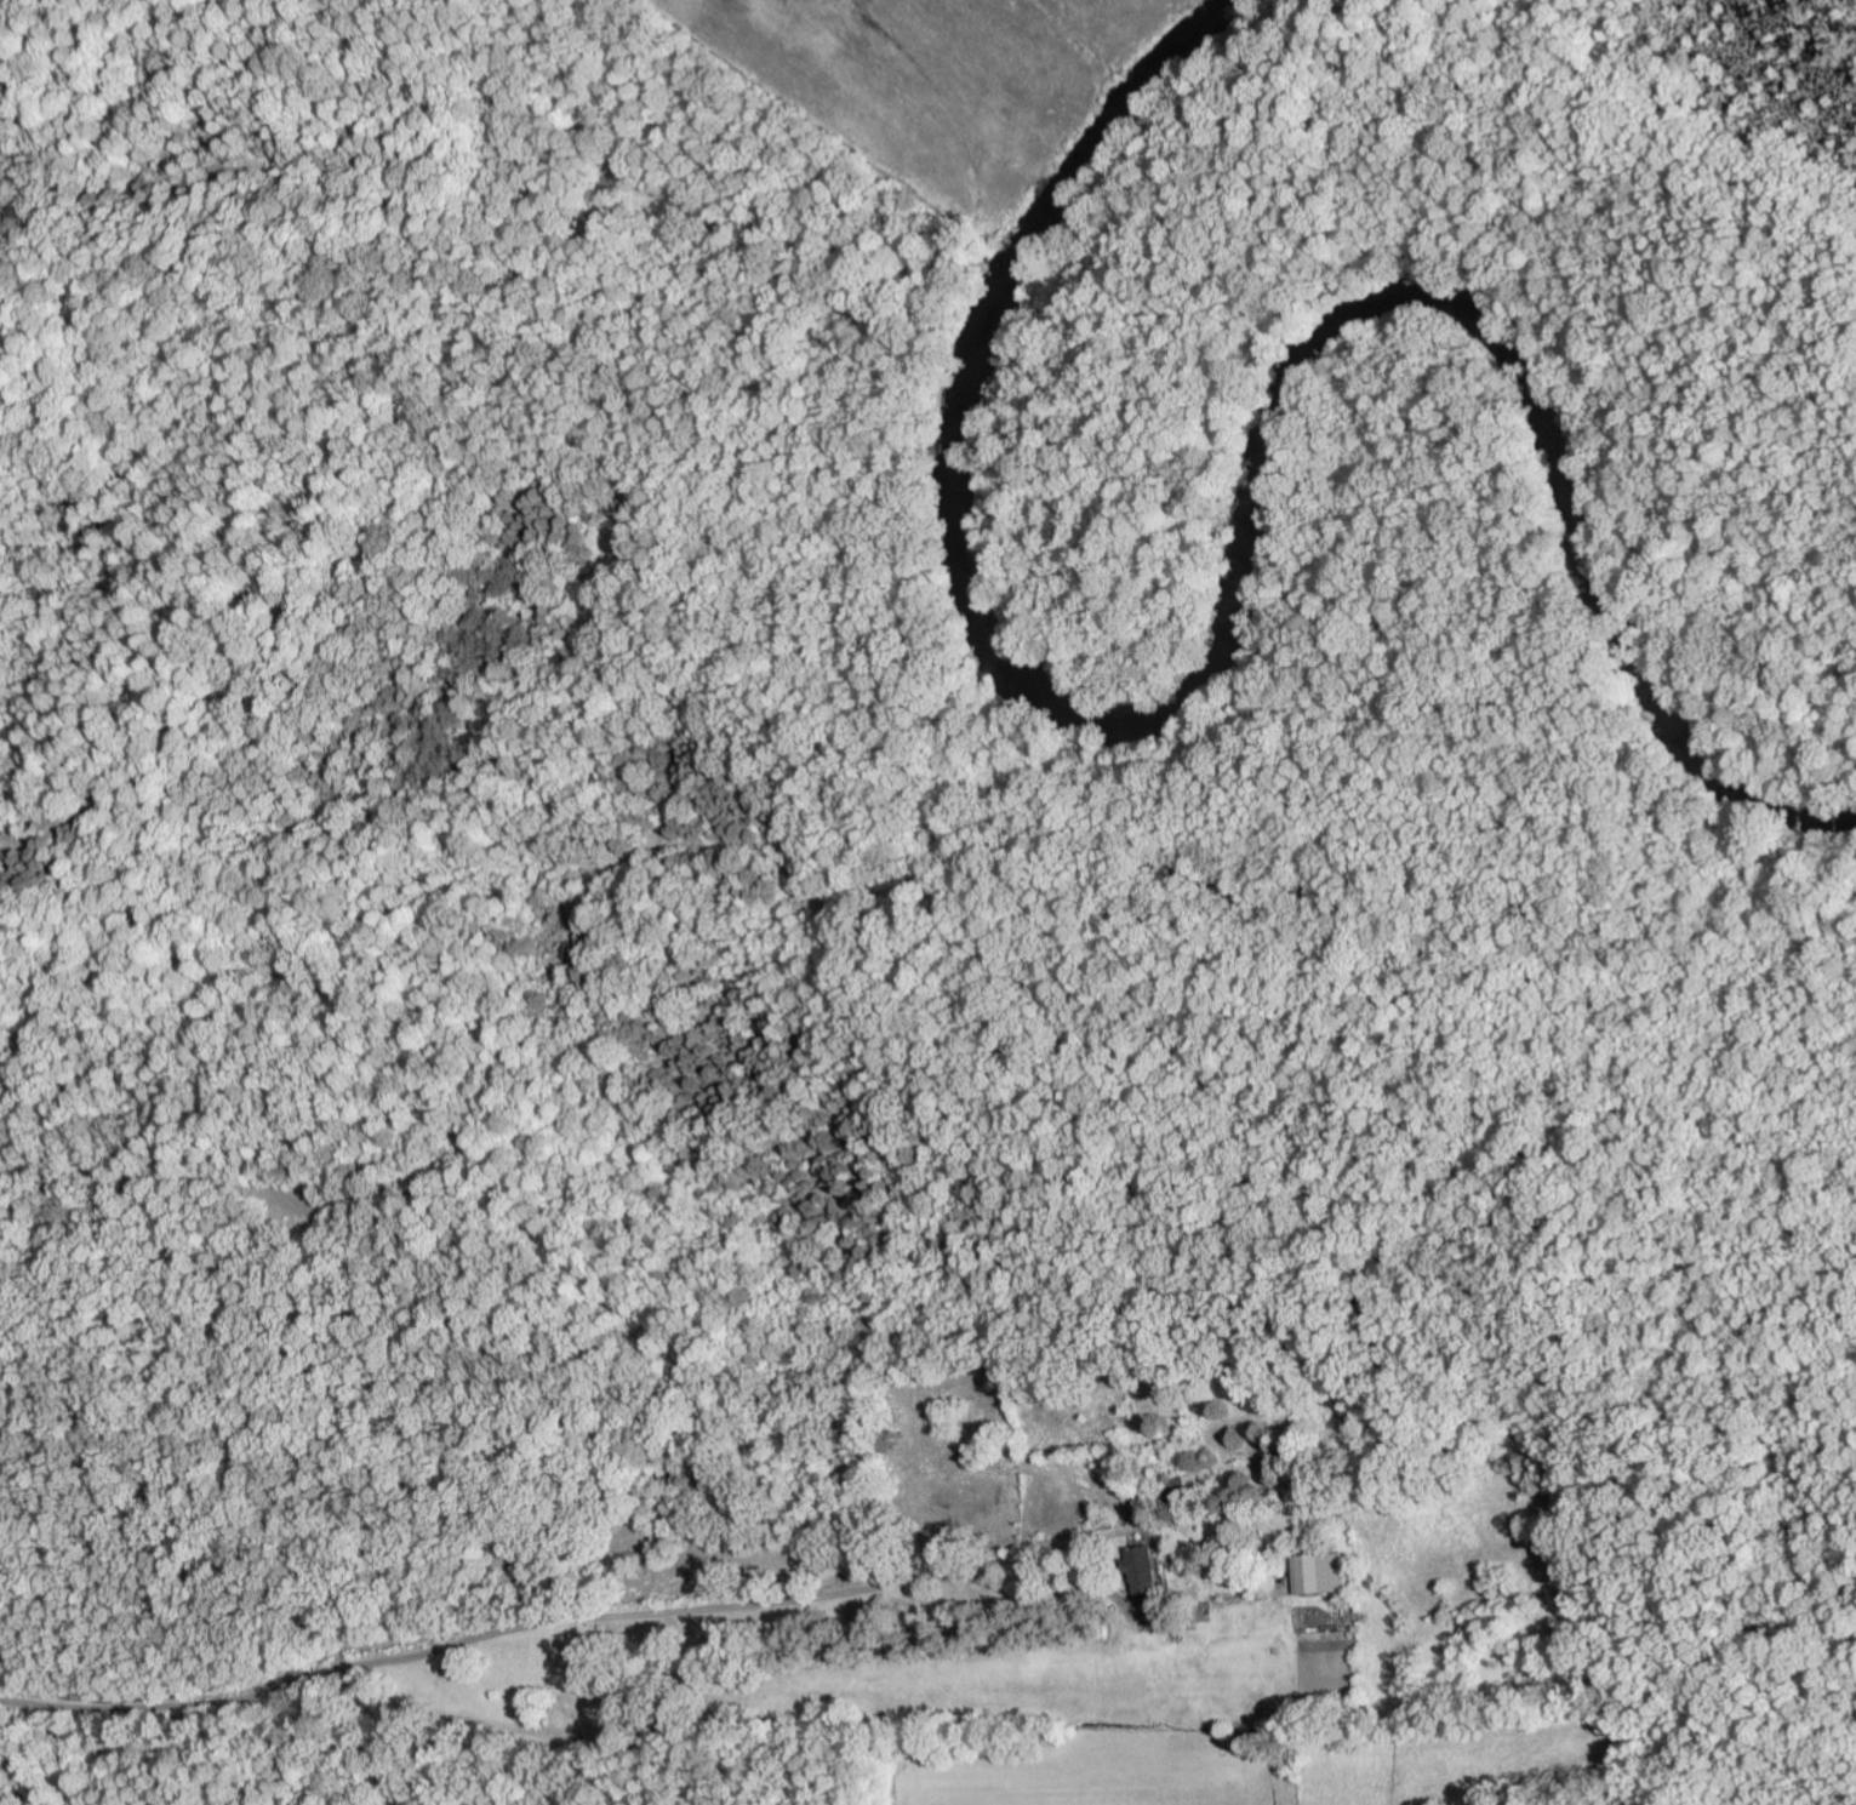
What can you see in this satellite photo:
building: (1143, 1571)
building: (1320, 1575)
road: (513, 1633)

